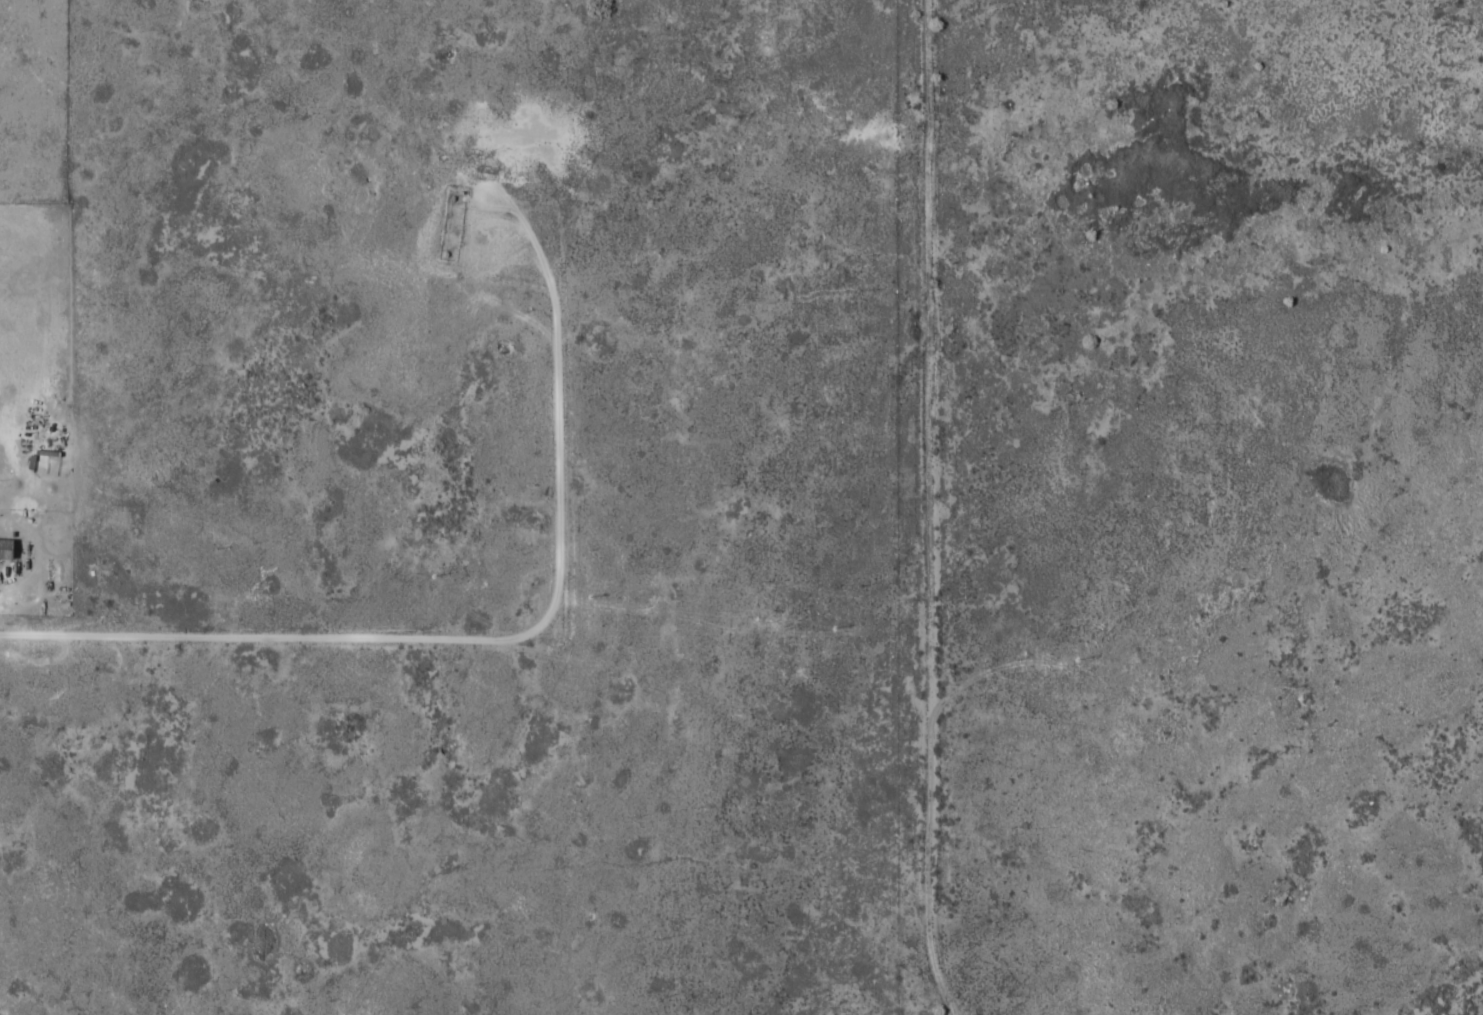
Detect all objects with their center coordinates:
building: (46, 453)
building: (6, 548)

